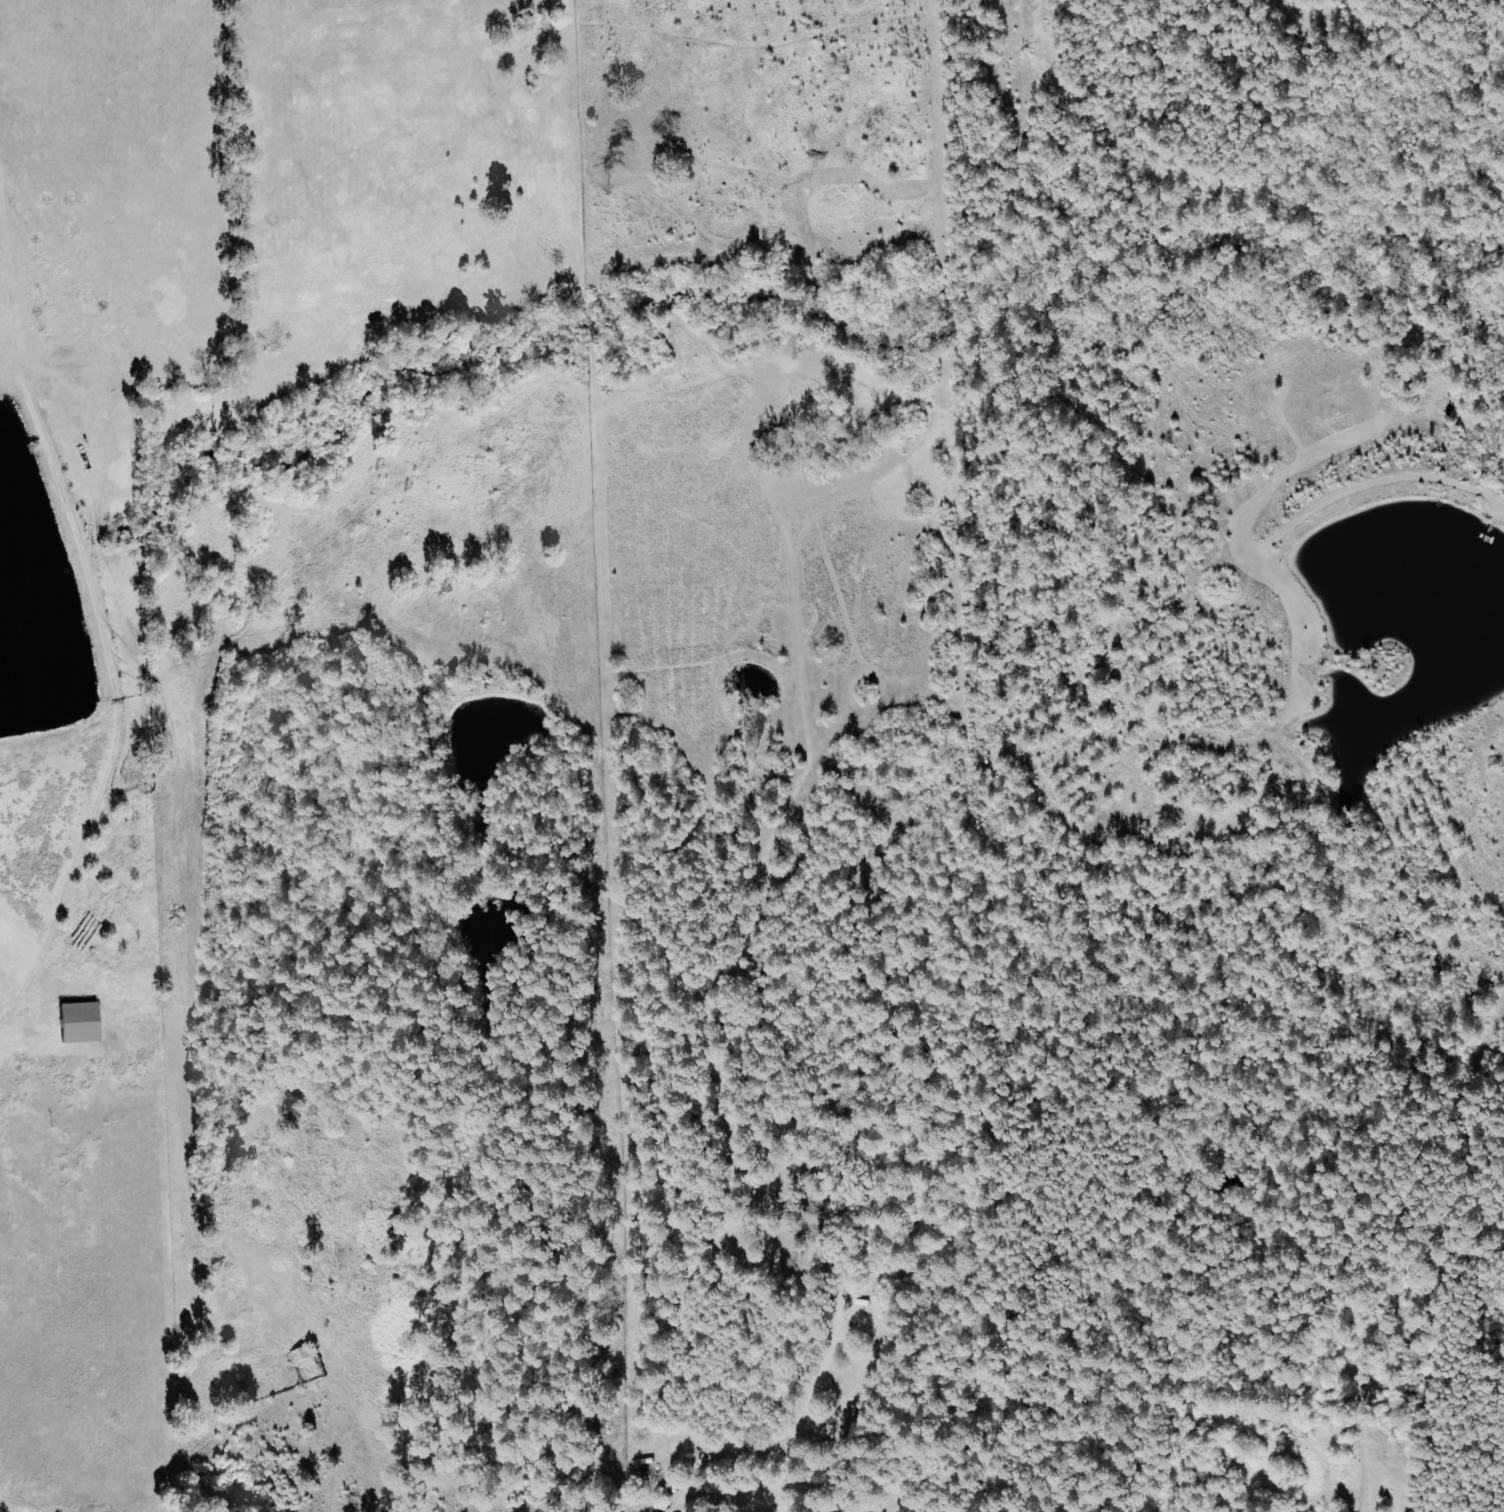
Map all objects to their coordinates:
road: (35, 968)
building: (80, 1022)

